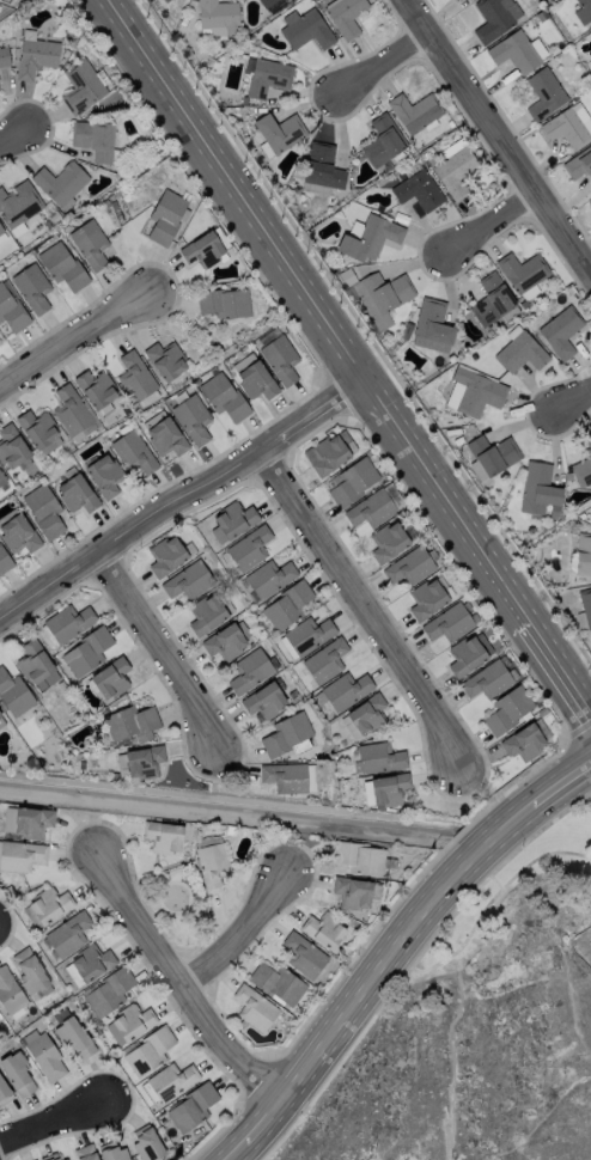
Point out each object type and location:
building: (163, 0)
building: (266, 2)
building: (583, 12)
building: (343, 16)
building: (494, 17)
building: (217, 18)
building: (304, 28)
building: (513, 51)
building: (35, 56)
building: (4, 57)
road: (386, 63)
building: (266, 77)
building: (80, 86)
building: (543, 93)
building: (413, 110)
building: (568, 126)
road: (14, 130)
building: (279, 132)
road: (498, 132)
building: (92, 138)
building: (382, 140)
building: (578, 164)
building: (453, 166)
building: (321, 169)
building: (60, 182)
building: (418, 189)
building: (589, 203)
building: (18, 204)
building: (165, 215)
road: (496, 222)
building: (1, 232)
building: (368, 237)
building: (89, 243)
building: (201, 249)
building: (61, 264)
building: (522, 270)
building: (31, 287)
building: (380, 295)
building: (491, 299)
building: (224, 303)
building: (11, 309)
building: (431, 325)
building: (560, 331)
road: (75, 342)
building: (519, 352)
road: (347, 353)
building: (279, 359)
building: (165, 360)
building: (242, 361)
building: (134, 376)
building: (255, 380)
building: (96, 387)
building: (473, 392)
building: (223, 396)
road: (574, 410)
building: (71, 413)
building: (191, 417)
building: (37, 427)
building: (164, 436)
building: (11, 446)
building: (132, 451)
building: (328, 452)
building: (491, 456)
building: (583, 465)
building: (103, 475)
building: (1, 478)
building: (351, 481)
building: (538, 489)
building: (75, 493)
road: (182, 496)
building: (370, 508)
building: (43, 509)
building: (232, 520)
building: (17, 533)
building: (386, 541)
building: (248, 547)
building: (583, 554)
building: (165, 555)
building: (4, 561)
building: (409, 566)
building: (268, 576)
building: (187, 580)
building: (426, 598)
building: (286, 604)
building: (585, 604)
road: (360, 610)
building: (206, 612)
building: (67, 622)
building: (447, 623)
building: (307, 634)
building: (226, 640)
road: (156, 648)
building: (85, 651)
building: (468, 653)
building: (30, 655)
building: (324, 659)
building: (249, 671)
building: (110, 677)
building: (485, 679)
building: (345, 689)
building: (13, 694)
building: (263, 700)
building: (507, 709)
building: (366, 714)
building: (0, 715)
building: (130, 722)
building: (286, 733)
building: (523, 741)
building: (378, 757)
building: (142, 761)
building: (284, 776)
building: (310, 776)
building: (388, 788)
building: (31, 820)
building: (163, 836)
building: (20, 855)
building: (358, 857)
building: (212, 866)
building: (352, 892)
road: (492, 897)
building: (49, 904)
park: (176, 906)
road: (243, 928)
building: (322, 929)
building: (67, 934)
road: (394, 946)
building: (303, 954)
building: (87, 964)
building: (29, 971)
road: (172, 978)
building: (276, 983)
building: (10, 991)
building: (108, 991)
building: (254, 1007)
building: (128, 1022)
building: (73, 1036)
building: (147, 1051)
building: (42, 1054)
road: (449, 1055)
building: (17, 1073)
building: (171, 1080)
building: (4, 1093)
building: (190, 1106)
road: (60, 1116)
building: (146, 1143)
building: (84, 1152)
building: (110, 1152)
building: (49, 1156)
building: (32, 1159)
building: (63, 1159)

